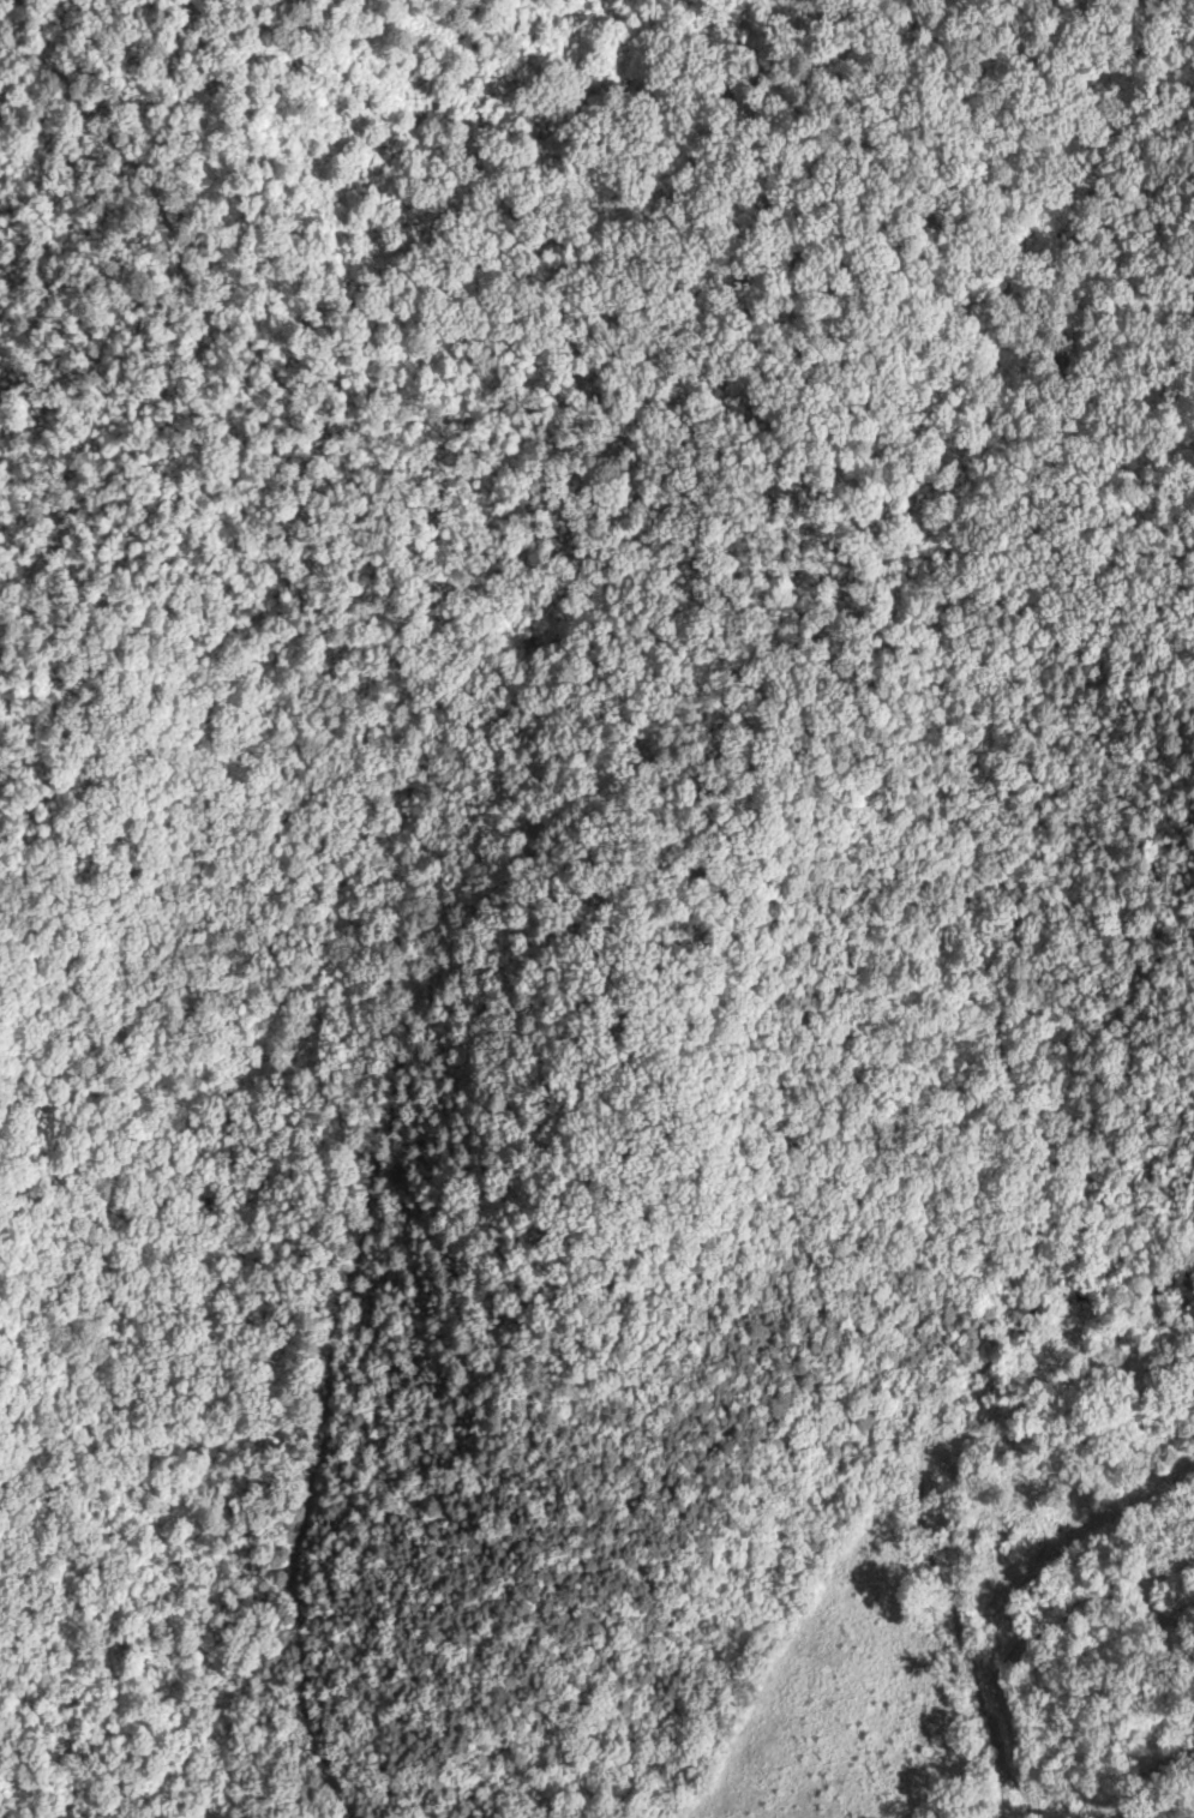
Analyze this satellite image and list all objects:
road: (1031, 1644)

